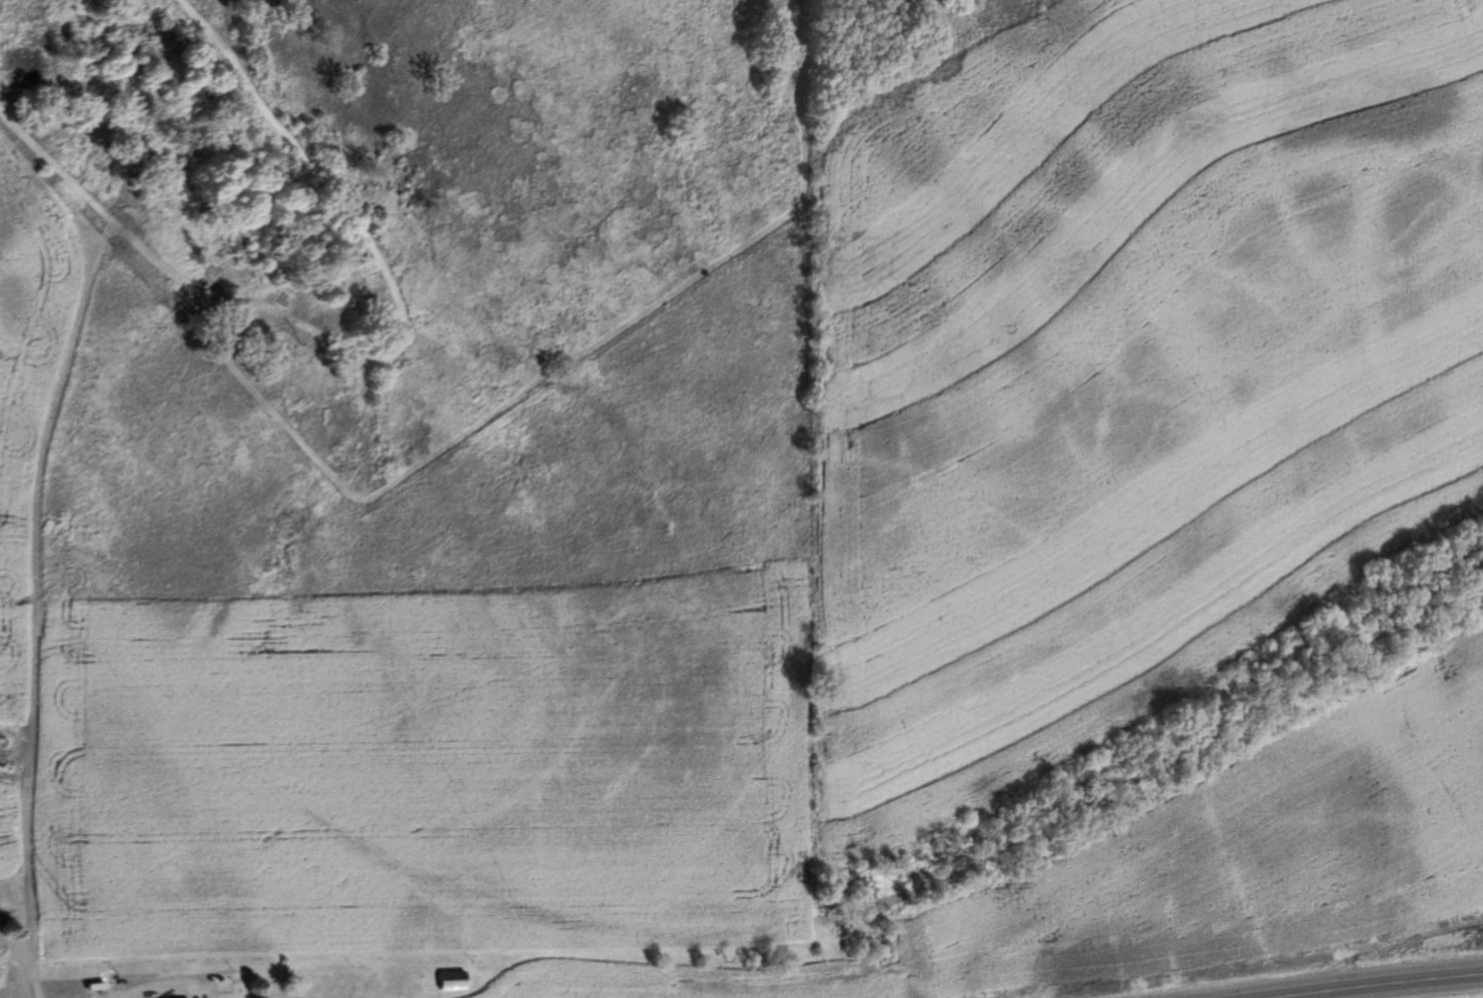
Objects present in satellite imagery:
building: (3, 753)
building: (450, 981)
road: (1394, 987)

